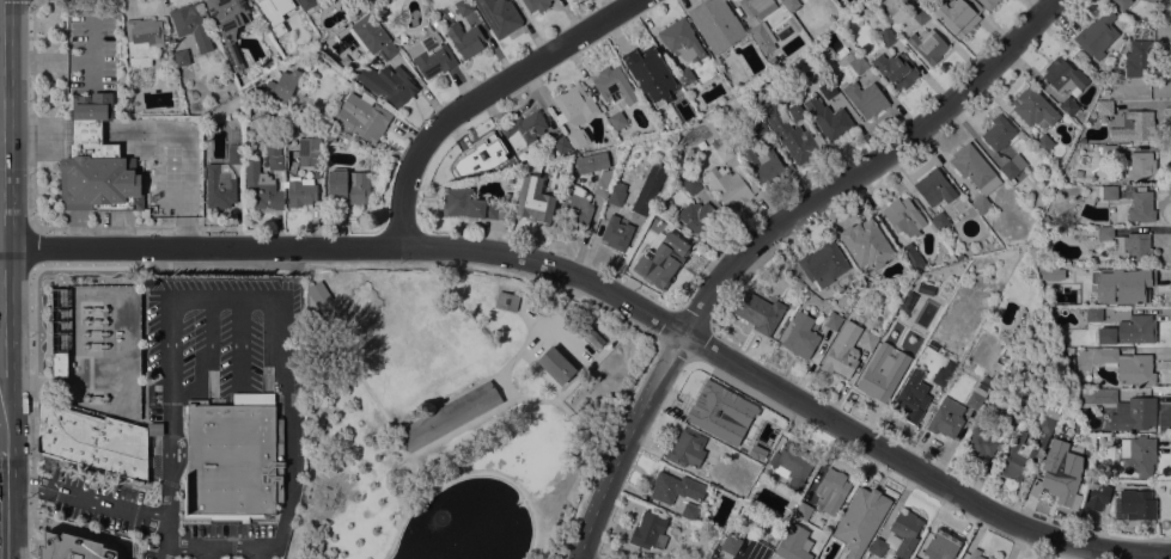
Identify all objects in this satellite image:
building: (261, 0)
building: (1147, 1)
building: (988, 4)
building: (1121, 4)
building: (286, 5)
building: (307, 5)
building: (536, 5)
building: (789, 5)
building: (463, 6)
building: (756, 7)
building: (364, 8)
building: (355, 11)
building: (916, 11)
building: (955, 14)
building: (227, 16)
building: (499, 16)
building: (268, 17)
building: (715, 24)
building: (792, 24)
building: (191, 25)
building: (458, 32)
building: (782, 33)
building: (1097, 35)
building: (373, 36)
building: (762, 37)
building: (886, 37)
building: (142, 38)
building: (681, 39)
building: (927, 45)
building: (431, 55)
building: (181, 57)
building: (1139, 59)
building: (234, 60)
building: (646, 61)
building: (771, 61)
building: (855, 62)
building: (268, 66)
building: (895, 70)
building: (684, 76)
building: (1065, 76)
building: (386, 84)
building: (280, 85)
building: (614, 86)
building: (828, 90)
road: (478, 94)
building: (648, 96)
building: (865, 98)
building: (574, 106)
building: (1068, 106)
building: (1104, 107)
building: (1033, 109)
building: (795, 112)
road: (31, 113)
building: (361, 118)
building: (829, 119)
building: (617, 121)
building: (1134, 125)
building: (758, 129)
building: (524, 130)
building: (998, 133)
building: (792, 135)
building: (329, 137)
building: (577, 137)
building: (655, 140)
building: (1043, 143)
building: (561, 145)
building: (721, 148)
building: (1106, 150)
building: (273, 152)
building: (309, 152)
building: (234, 154)
building: (484, 155)
building: (91, 159)
building: (591, 162)
building: (761, 164)
building: (1139, 165)
building: (1012, 167)
building: (975, 173)
building: (604, 182)
building: (219, 185)
building: (690, 185)
building: (130, 186)
building: (730, 186)
building: (347, 188)
building: (934, 188)
building: (261, 189)
building: (648, 189)
building: (617, 191)
building: (300, 192)
building: (1109, 193)
building: (533, 199)
building: (665, 203)
building: (470, 204)
building: (1140, 207)
building: (575, 208)
building: (697, 216)
building: (902, 216)
building: (939, 221)
building: (616, 233)
road: (761, 235)
building: (865, 244)
building: (1128, 245)
road: (32, 247)
building: (910, 257)
building: (661, 258)
building: (823, 264)
road: (360, 265)
road: (90, 268)
building: (1103, 275)
building: (1138, 287)
building: (926, 288)
building: (318, 294)
road: (612, 295)
building: (506, 301)
building: (757, 312)
road: (274, 313)
building: (1093, 314)
building: (832, 320)
road: (0, 331)
building: (1129, 331)
building: (800, 336)
building: (594, 339)
road: (238, 340)
building: (867, 342)
power substation: (98, 349)
building: (842, 351)
road: (200, 357)
building: (59, 363)
building: (555, 365)
building: (1127, 365)
building: (883, 371)
building: (941, 377)
building: (911, 397)
building: (974, 400)
building: (709, 408)
building: (1121, 408)
road: (30, 412)
park: (451, 413)
building: (740, 414)
building: (447, 416)
road: (472, 419)
building: (947, 419)
building: (1044, 428)
building: (155, 429)
road: (1, 431)
building: (978, 443)
building: (91, 444)
building: (687, 449)
building: (1016, 457)
building: (1136, 457)
building: (230, 462)
building: (792, 465)
road: (0, 475)
road: (14, 481)
building: (1059, 483)
building: (675, 489)
building: (830, 491)
building: (1097, 496)
building: (1136, 504)
road: (116, 506)
building: (803, 511)
building: (689, 512)
building: (860, 520)
building: (648, 532)
building: (898, 536)
building: (730, 543)
building: (793, 543)
building: (941, 545)
building: (73, 548)
road: (207, 552)
road: (257, 553)
road: (583, 557)
building: (974, 557)
building: (913, 558)
building: (989, 558)

